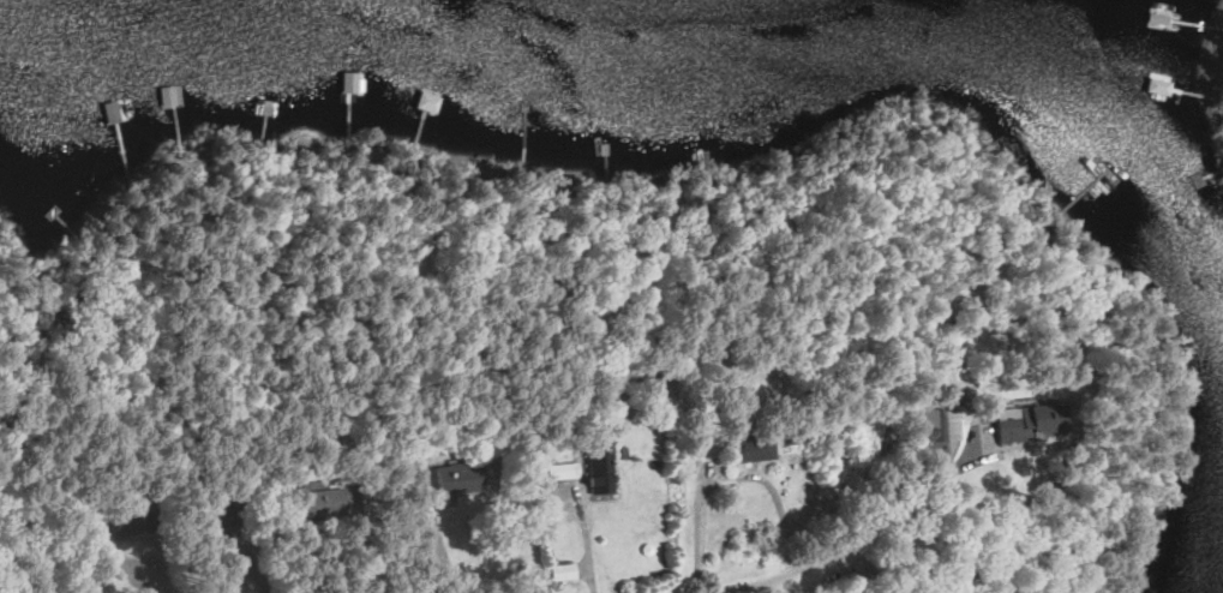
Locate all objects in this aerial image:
building: (366, 90)
building: (1041, 424)
building: (941, 430)
building: (754, 448)
building: (564, 472)
building: (602, 474)
road: (733, 478)
building: (460, 479)
road: (933, 497)
building: (326, 498)
building: (112, 517)
road: (593, 539)
road: (439, 555)
road: (807, 571)
building: (566, 574)

